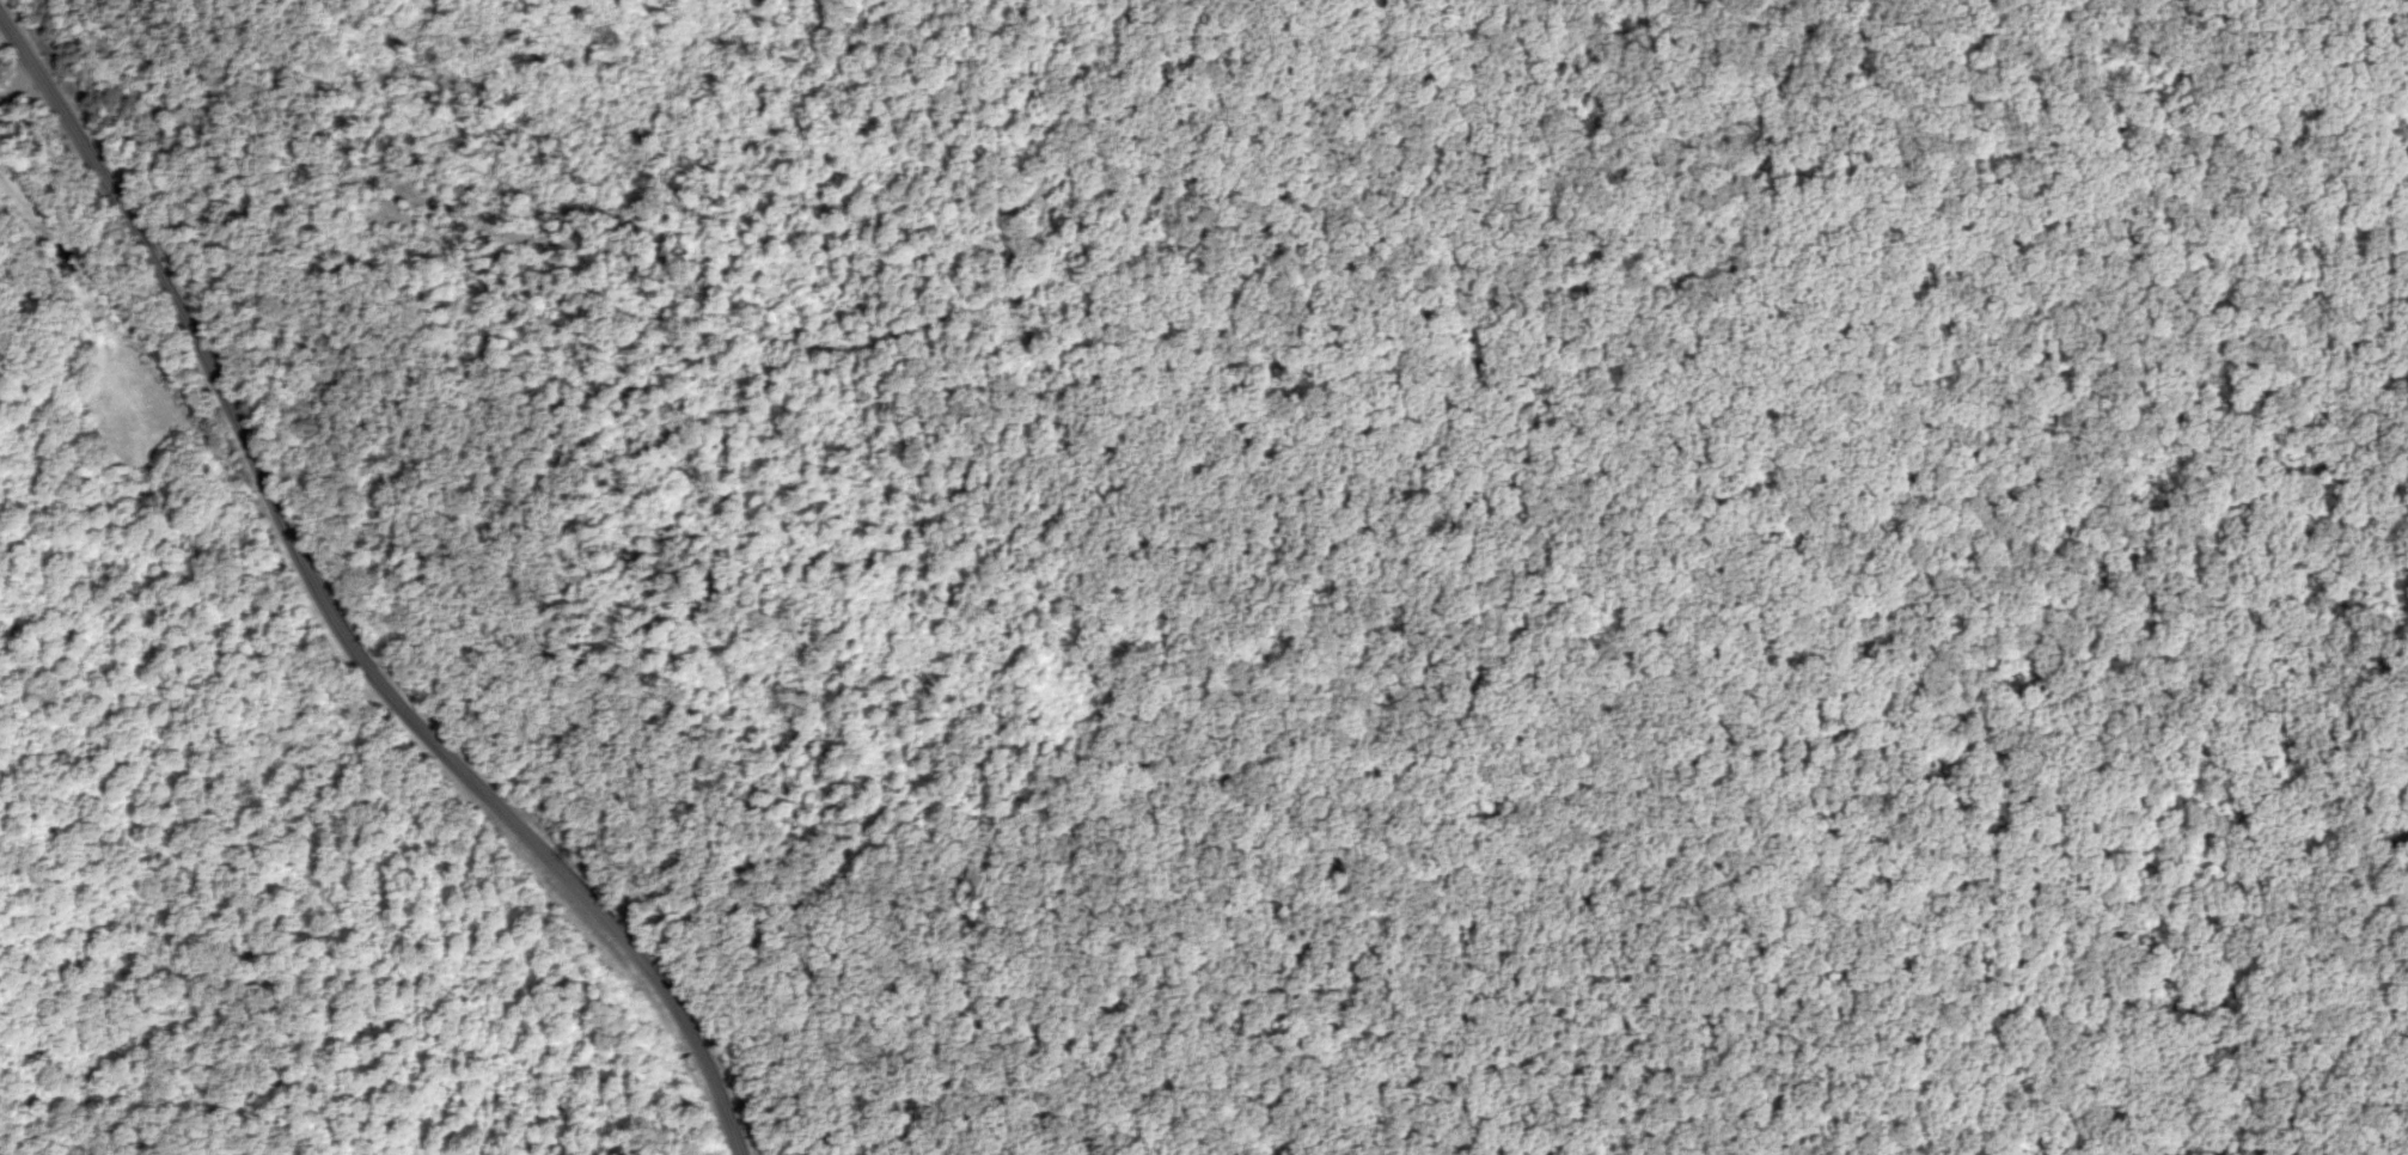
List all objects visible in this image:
road: (342, 164)
road: (1343, 586)
park: (1738, 592)
road: (330, 613)

